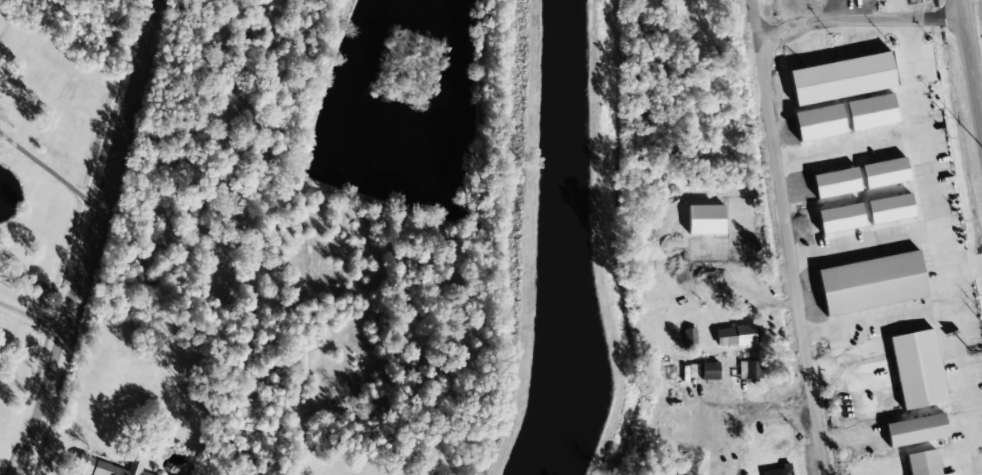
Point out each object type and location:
road: (856, 20)
road: (969, 76)
building: (841, 79)
building: (870, 112)
building: (818, 123)
road: (901, 134)
building: (884, 173)
building: (835, 183)
building: (889, 209)
building: (840, 218)
road: (934, 220)
road: (90, 237)
road: (786, 237)
road: (863, 245)
building: (871, 283)
road: (31, 318)
road: (876, 322)
building: (735, 336)
building: (749, 370)
building: (917, 370)
building: (709, 371)
road: (961, 372)
building: (915, 430)
road: (303, 460)
building: (922, 463)
building: (111, 466)
building: (777, 470)
building: (163, 474)

